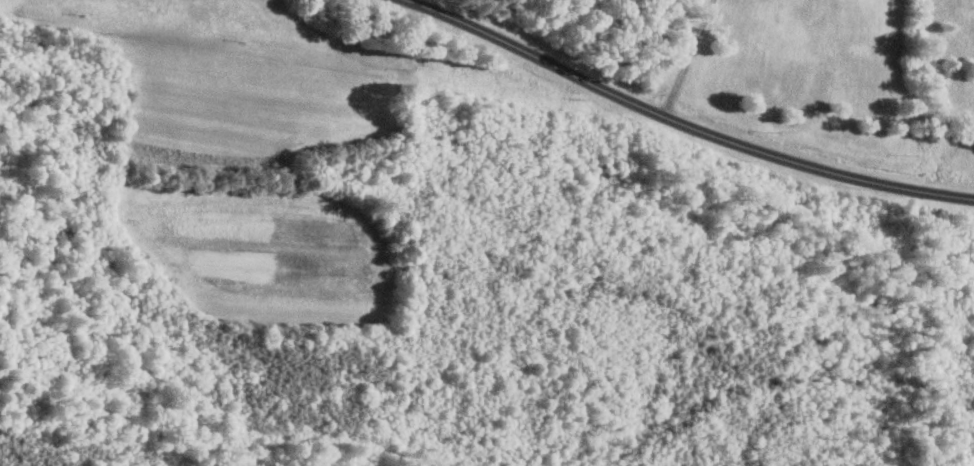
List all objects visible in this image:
road: (683, 121)
road: (971, 223)

